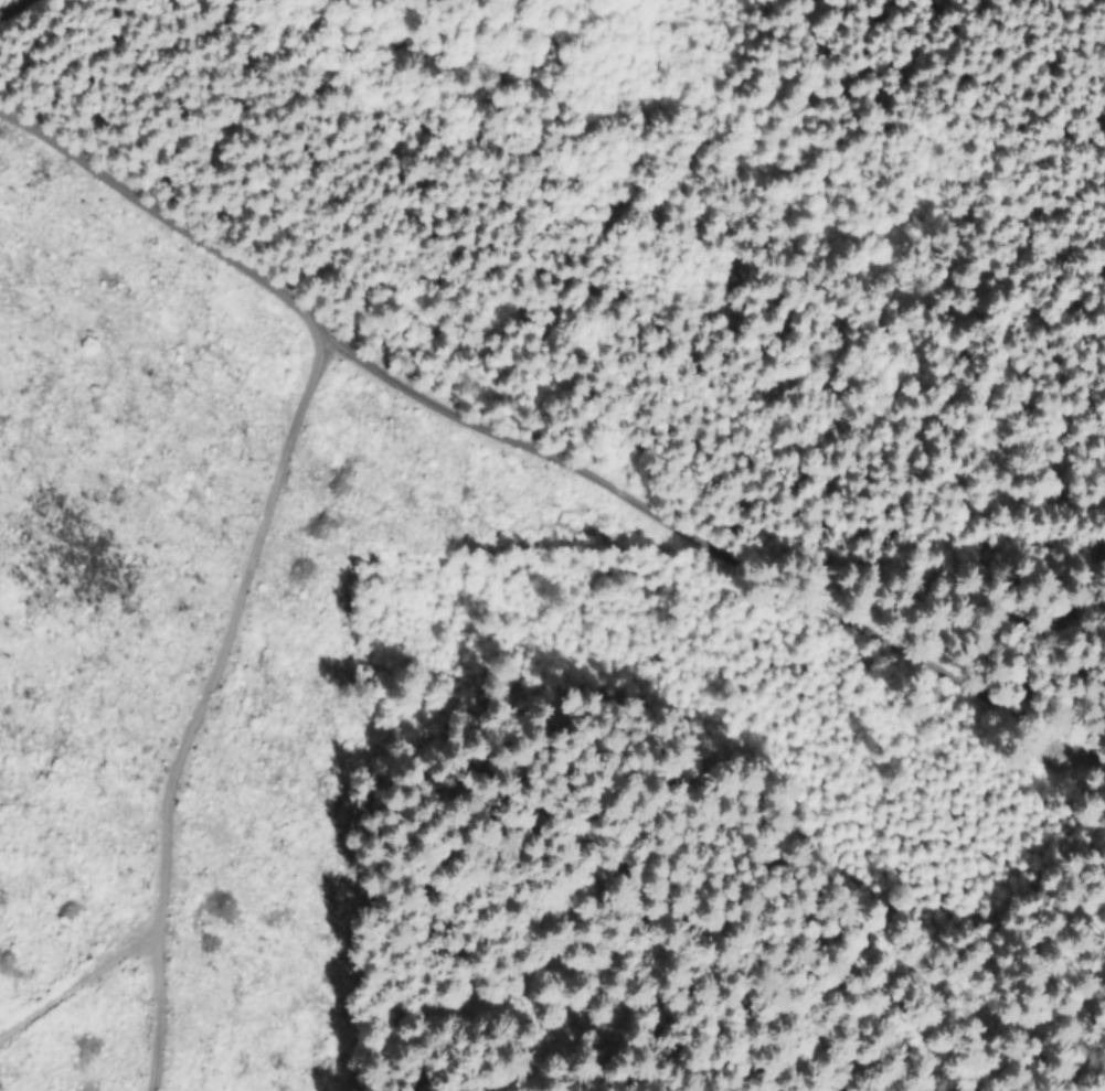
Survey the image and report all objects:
road: (9, 7)
road: (544, 453)
road: (180, 708)

